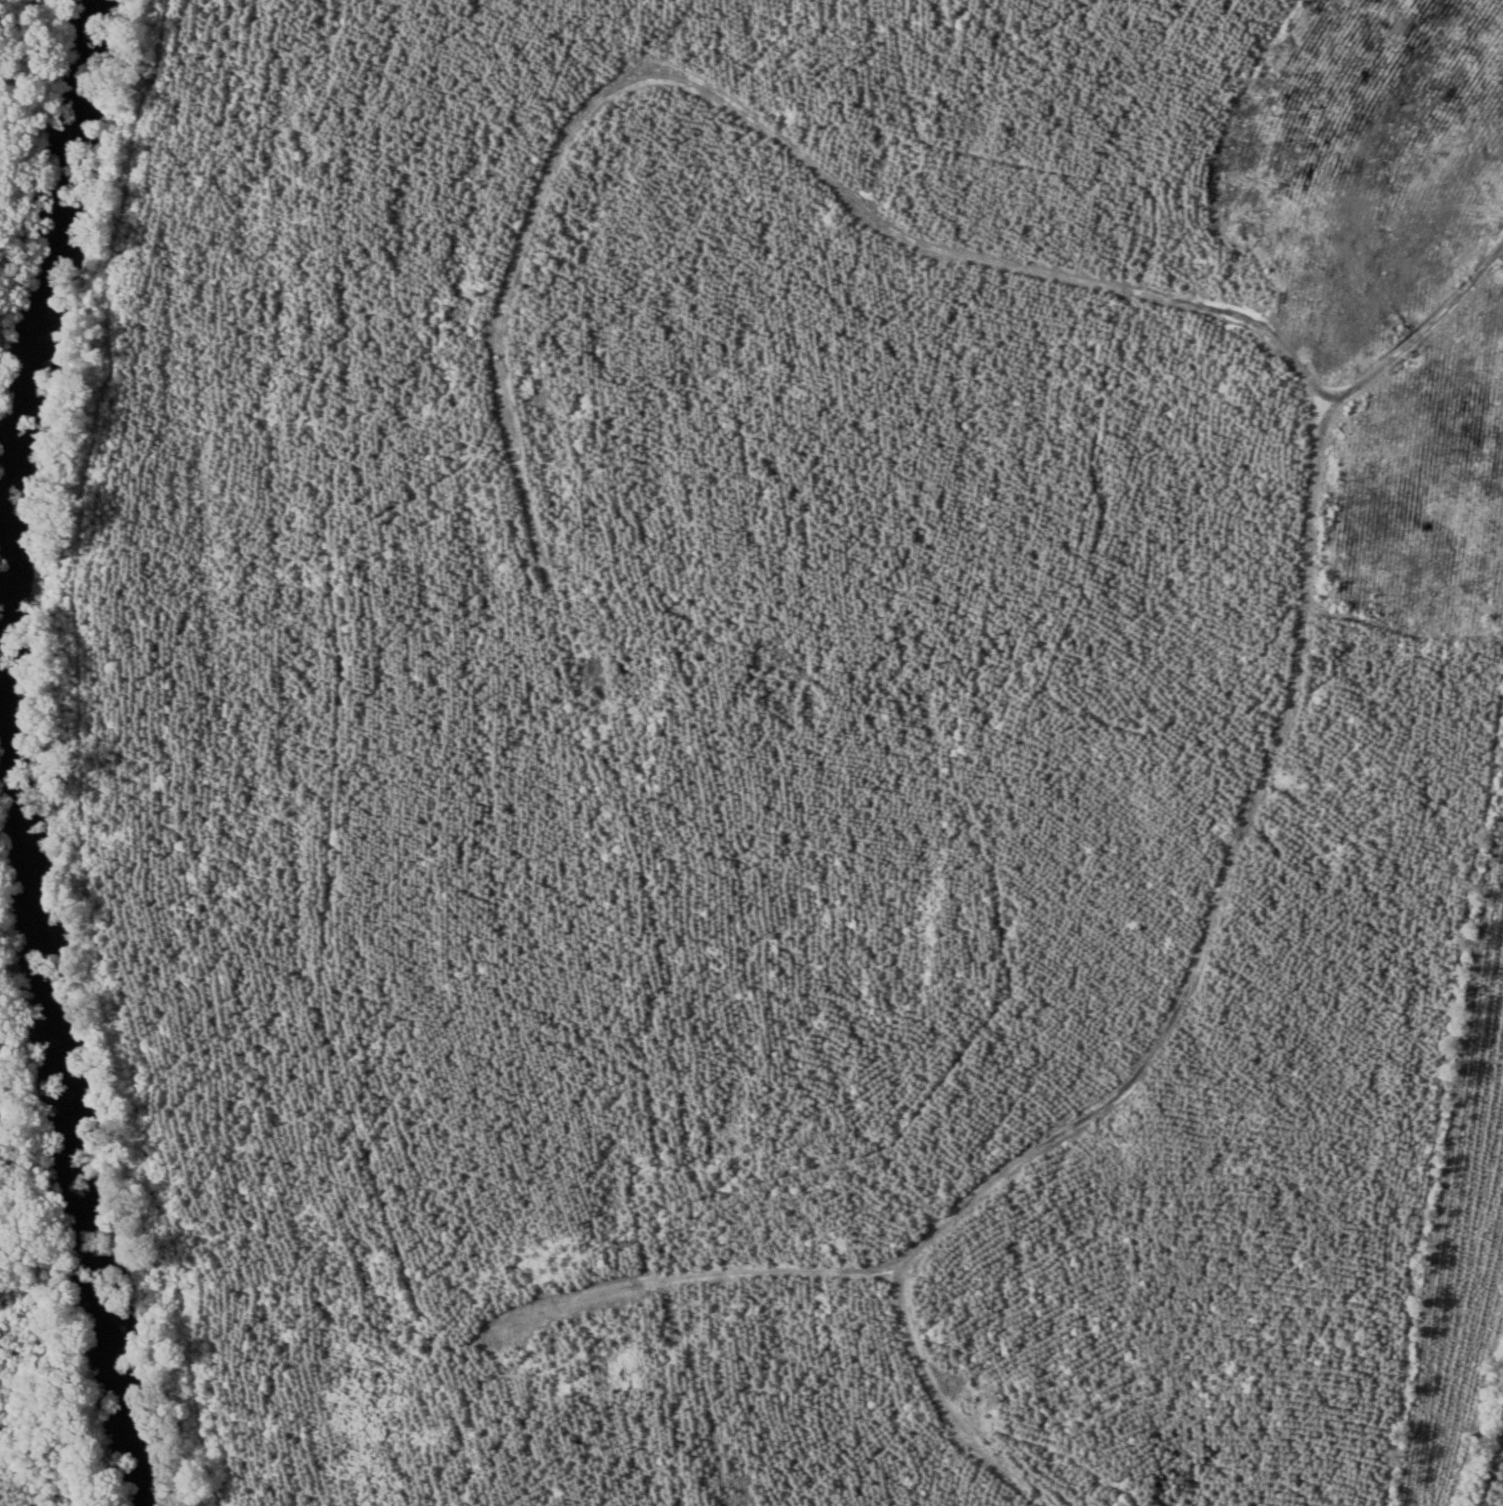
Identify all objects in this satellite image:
river: (16, 757)

